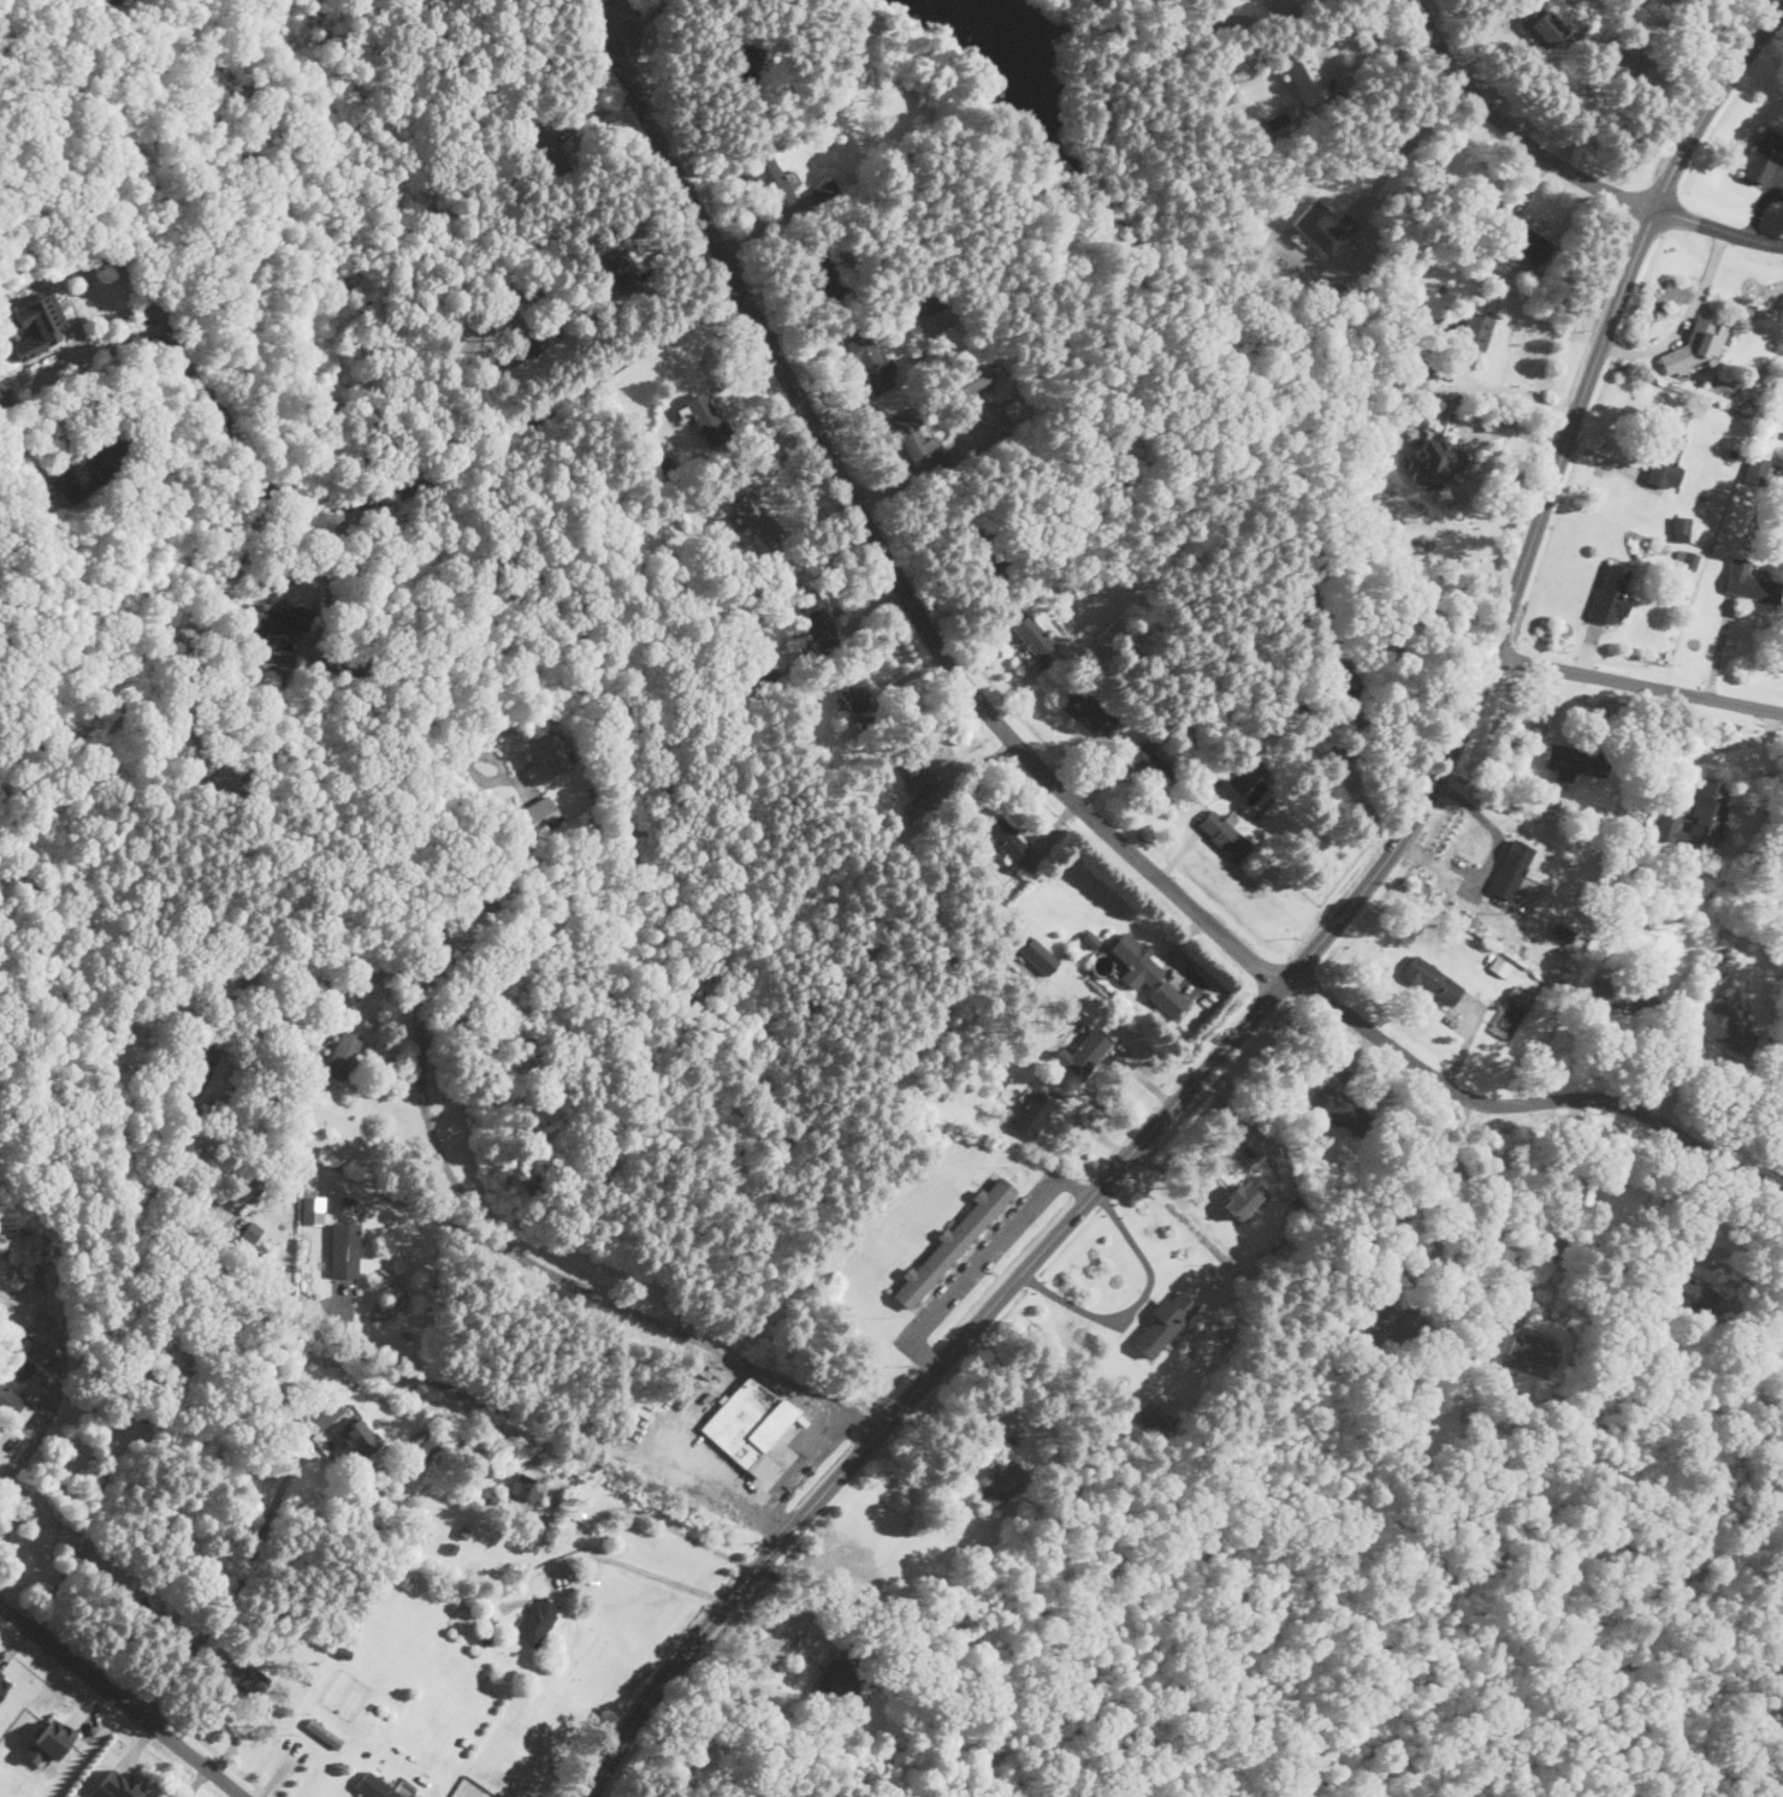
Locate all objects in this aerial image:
building: (113, 0)
road: (1298, 5)
road: (46, 6)
road: (602, 10)
road: (621, 10)
building: (1538, 19)
road: (5, 22)
building: (1615, 58)
building: (747, 63)
road: (1339, 69)
building: (1305, 79)
road: (1710, 103)
road: (1515, 132)
road: (1410, 141)
road: (135, 142)
building: (549, 155)
building: (1761, 156)
building: (772, 182)
building: (824, 192)
building: (1322, 226)
road: (1718, 229)
building: (1522, 239)
road: (125, 267)
building: (824, 267)
building: (623, 272)
building: (928, 303)
road: (1686, 321)
building: (36, 325)
building: (1473, 338)
road: (100, 345)
building: (525, 345)
building: (1698, 345)
building: (871, 363)
building: (970, 381)
road: (75, 387)
building: (2, 396)
road: (1518, 396)
building: (1014, 408)
building: (703, 415)
building: (918, 440)
building: (99, 455)
building: (1437, 458)
building: (1666, 459)
building: (1757, 469)
road: (431, 479)
building: (66, 481)
building: (756, 517)
building: (1680, 527)
road: (328, 548)
road: (881, 548)
building: (1684, 558)
building: (1749, 582)
building: (1611, 592)
building: (818, 622)
building: (280, 624)
road: (428, 635)
building: (1033, 637)
building: (1339, 660)
road: (1637, 682)
building: (855, 699)
building: (1090, 710)
road: (1390, 735)
road: (1719, 748)
building: (544, 759)
building: (1575, 760)
building: (1150, 764)
building: (1242, 777)
building: (539, 812)
building: (1699, 818)
road: (1189, 828)
building: (1224, 834)
building: (1006, 837)
building: (1510, 868)
building: (1039, 956)
building: (1136, 963)
building: (1499, 965)
building: (1432, 979)
building: (1624, 994)
building: (1167, 1001)
building: (1723, 1026)
road: (1546, 1042)
building: (1085, 1051)
building: (342, 1054)
road: (1214, 1058)
building: (220, 1083)
road: (1528, 1102)
building: (1337, 1108)
building: (1031, 1115)
road: (1423, 1173)
road: (1076, 1187)
building: (1243, 1198)
building: (312, 1209)
road: (1572, 1212)
building: (953, 1244)
building: (344, 1250)
road: (984, 1261)
road: (1758, 1262)
road: (563, 1277)
building: (1688, 1292)
road: (271, 1298)
road: (1138, 1301)
building: (1396, 1316)
building: (1163, 1323)
building: (1532, 1347)
building: (1775, 1347)
road: (923, 1356)
building: (13, 1405)
building: (322, 1415)
building: (1157, 1421)
building: (748, 1425)
building: (356, 1436)
building: (427, 1447)
road: (802, 1469)
building: (1002, 1483)
building: (527, 1488)
road: (11, 1494)
road: (269, 1514)
road: (658, 1518)
road: (639, 1567)
building: (538, 1620)
building: (248, 1672)
building: (835, 1678)
building: (4, 1683)
road: (122, 1698)
building: (324, 1732)
building: (53, 1738)
road: (196, 1781)
building: (119, 1784)
building: (381, 1786)

